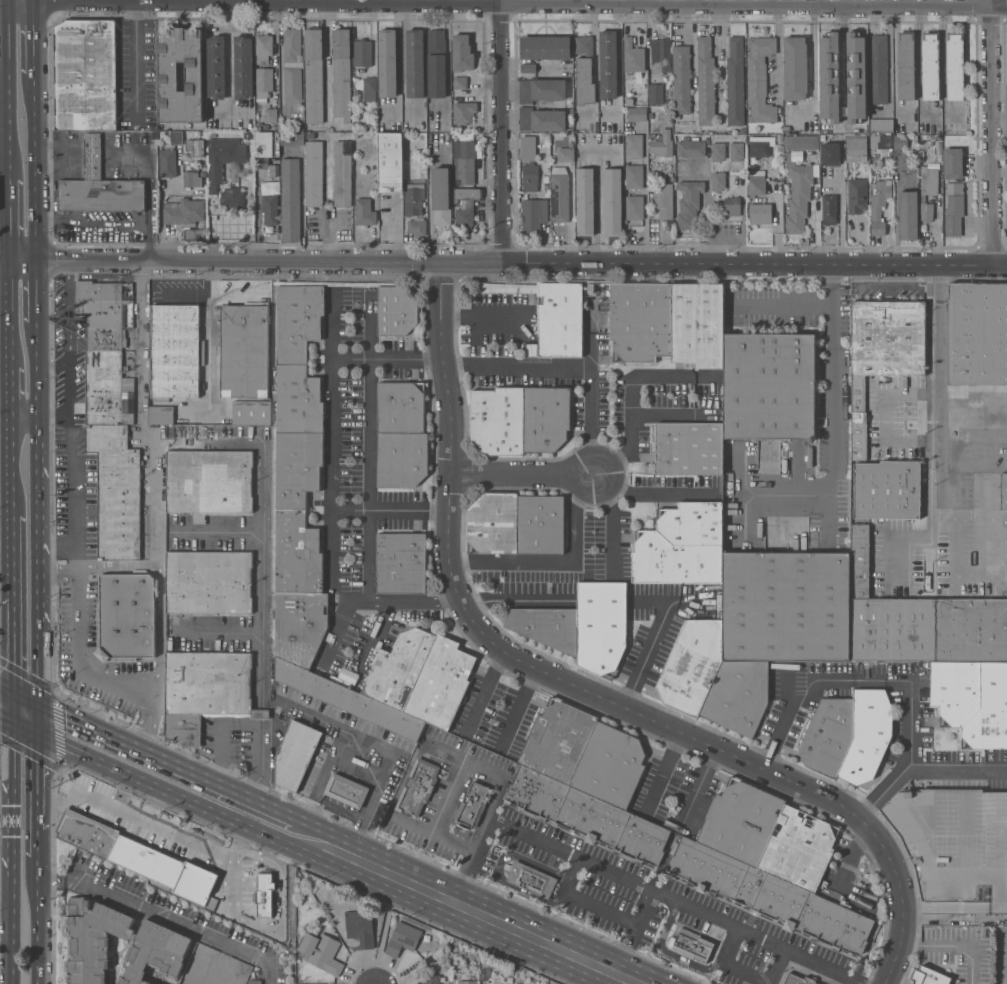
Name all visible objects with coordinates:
road: (7, 1)
road: (31, 1)
road: (66, 1)
road: (94, 1)
road: (129, 1)
road: (175, 1)
road: (281, 1)
road: (648, 2)
road: (693, 2)
road: (744, 2)
road: (507, 3)
road: (844, 3)
road: (887, 3)
road: (32, 39)
building: (584, 45)
building: (545, 47)
building: (263, 48)
road: (778, 50)
building: (363, 53)
building: (462, 53)
building: (661, 54)
road: (814, 55)
road: (229, 56)
road: (943, 56)
road: (327, 58)
building: (632, 58)
road: (135, 59)
road: (402, 62)
building: (387, 63)
building: (415, 63)
building: (436, 63)
building: (292, 64)
building: (608, 64)
building: (930, 65)
building: (906, 66)
building: (955, 66)
building: (215, 67)
building: (243, 67)
building: (527, 67)
building: (795, 68)
building: (878, 69)
road: (3, 73)
building: (85, 75)
building: (314, 75)
building: (168, 76)
building: (342, 76)
building: (856, 77)
building: (681, 79)
building: (759, 79)
building: (263, 81)
building: (584, 81)
building: (460, 82)
building: (705, 82)
building: (735, 82)
building: (369, 89)
building: (541, 90)
road: (7, 92)
building: (655, 93)
building: (373, 109)
building: (464, 112)
road: (4, 113)
building: (637, 114)
building: (270, 115)
road: (1001, 118)
building: (542, 119)
building: (369, 123)
building: (881, 124)
building: (787, 129)
building: (742, 130)
road: (501, 132)
road: (996, 133)
building: (247, 135)
building: (829, 136)
building: (176, 137)
building: (421, 137)
building: (292, 138)
building: (823, 138)
building: (660, 142)
building: (802, 142)
building: (885, 142)
building: (900, 142)
road: (4, 144)
building: (264, 144)
building: (633, 146)
building: (759, 146)
road: (33, 147)
building: (195, 147)
building: (690, 147)
building: (528, 148)
building: (855, 148)
road: (149, 151)
building: (736, 151)
building: (717, 152)
building: (565, 153)
building: (830, 153)
building: (223, 156)
building: (887, 158)
building: (906, 160)
building: (464, 162)
building: (167, 163)
building: (391, 163)
building: (952, 163)
building: (847, 165)
building: (271, 170)
building: (203, 173)
building: (314, 173)
building: (342, 173)
building: (634, 176)
building: (191, 178)
building: (530, 178)
building: (717, 181)
building: (929, 181)
building: (755, 185)
building: (99, 186)
building: (546, 186)
building: (212, 189)
building: (560, 195)
building: (857, 195)
building: (441, 197)
building: (798, 197)
building: (232, 198)
building: (290, 199)
building: (664, 200)
building: (414, 201)
building: (584, 201)
building: (613, 202)
building: (689, 203)
building: (465, 206)
building: (732, 206)
building: (634, 207)
building: (879, 207)
road: (597, 208)
building: (269, 209)
building: (829, 209)
building: (954, 209)
building: (183, 212)
building: (364, 212)
building: (926, 212)
building: (534, 214)
building: (760, 214)
building: (907, 215)
road: (92, 217)
road: (8, 220)
building: (416, 227)
building: (193, 234)
road: (326, 236)
road: (726, 236)
road: (33, 239)
road: (4, 259)
road: (21, 259)
road: (51, 260)
road: (537, 266)
road: (208, 284)
road: (34, 289)
road: (208, 297)
road: (782, 305)
building: (396, 310)
road: (68, 312)
building: (101, 313)
road: (481, 318)
building: (560, 319)
building: (298, 320)
building: (639, 320)
building: (697, 324)
road: (332, 331)
building: (977, 335)
building: (175, 351)
building: (244, 351)
building: (882, 353)
road: (51, 365)
road: (520, 366)
road: (34, 367)
road: (208, 371)
road: (21, 382)
building: (769, 385)
road: (935, 386)
road: (9, 387)
building: (106, 389)
road: (634, 395)
building: (298, 399)
building: (359, 405)
road: (596, 407)
building: (400, 408)
building: (252, 413)
building: (161, 414)
road: (833, 414)
road: (52, 416)
building: (546, 418)
building: (498, 420)
road: (876, 423)
road: (332, 428)
road: (369, 441)
building: (689, 448)
building: (401, 459)
building: (359, 460)
building: (298, 467)
road: (69, 469)
road: (524, 475)
building: (209, 481)
building: (887, 489)
building: (116, 491)
road: (654, 494)
building: (1003, 497)
road: (392, 510)
road: (614, 521)
road: (154, 523)
building: (494, 523)
building: (692, 523)
building: (541, 524)
road: (908, 537)
road: (155, 549)
building: (298, 555)
road: (10, 557)
building: (341, 558)
building: (673, 560)
road: (570, 562)
building: (401, 563)
road: (113, 566)
road: (55, 575)
road: (36, 576)
building: (209, 582)
road: (515, 598)
road: (378, 601)
building: (786, 606)
building: (126, 615)
building: (886, 615)
road: (263, 621)
building: (602, 625)
building: (548, 626)
building: (300, 627)
road: (159, 628)
building: (972, 629)
road: (218, 632)
road: (376, 636)
road: (654, 636)
parking lot: (75, 647)
road: (11, 661)
road: (75, 663)
building: (693, 665)
building: (399, 668)
building: (441, 684)
road: (485, 688)
road: (5, 689)
building: (206, 691)
road: (582, 691)
building: (956, 691)
traffic signals: (11, 692)
road: (154, 694)
building: (738, 696)
building: (348, 699)
traffic signals: (36, 704)
road: (516, 706)
building: (990, 710)
road: (262, 714)
road: (5, 721)
road: (262, 722)
traffic signals: (11, 724)
road: (784, 724)
road: (252, 725)
road: (23, 730)
building: (829, 735)
building: (868, 735)
traffic signals: (36, 736)
building: (558, 741)
road: (151, 754)
building: (295, 754)
road: (914, 762)
road: (98, 763)
building: (610, 766)
road: (956, 772)
road: (662, 774)
road: (380, 778)
road: (36, 781)
building: (417, 788)
road: (697, 789)
building: (346, 790)
road: (11, 793)
road: (52, 802)
building: (471, 806)
road: (5, 807)
road: (152, 808)
road: (250, 813)
road: (218, 815)
building: (586, 816)
building: (742, 822)
road: (432, 834)
road: (167, 835)
road: (37, 842)
building: (955, 847)
building: (799, 849)
building: (837, 855)
building: (171, 864)
building: (832, 864)
road: (845, 872)
building: (531, 880)
road: (634, 881)
road: (5, 891)
building: (769, 897)
road: (459, 904)
road: (164, 915)
road: (37, 920)
road: (11, 923)
building: (360, 928)
road: (630, 930)
building: (402, 939)
building: (162, 942)
building: (692, 945)
road: (954, 948)
building: (321, 952)
road: (775, 966)
building: (231, 969)
building: (483, 974)
building: (928, 976)
building: (797, 978)
building: (191, 979)
building: (430, 979)
building: (509, 980)
building: (468, 982)

